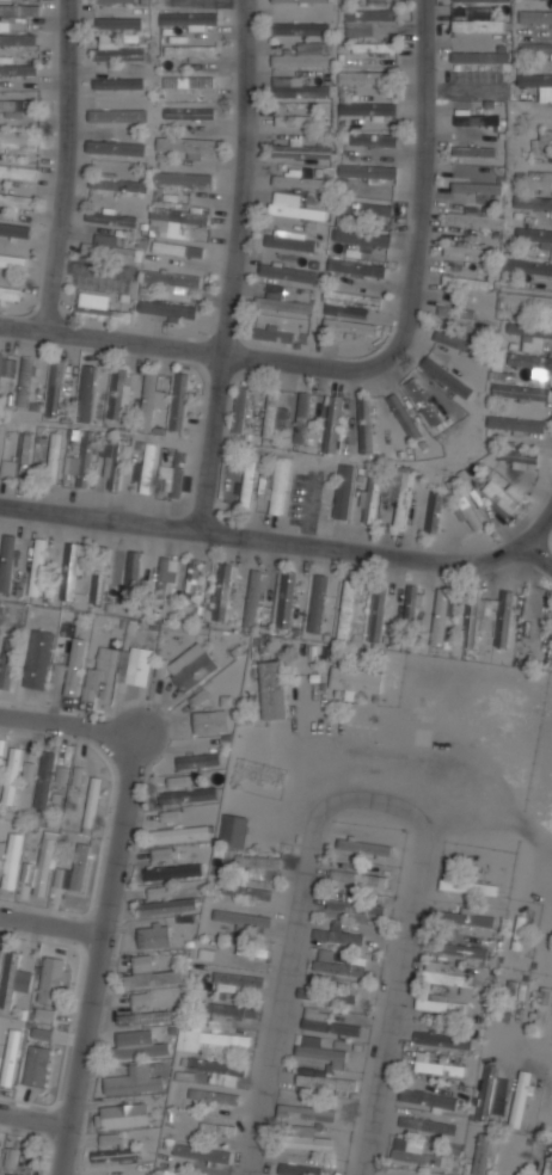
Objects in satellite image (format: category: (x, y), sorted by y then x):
building: (301, 0)
building: (482, 0)
building: (115, 1)
building: (375, 1)
building: (18, 13)
building: (370, 14)
building: (535, 16)
building: (189, 18)
building: (115, 21)
building: (12, 23)
building: (478, 25)
building: (300, 27)
building: (551, 27)
building: (18, 39)
building: (374, 47)
building: (535, 48)
building: (115, 49)
building: (190, 51)
building: (480, 56)
building: (300, 60)
building: (18, 69)
building: (363, 76)
building: (534, 80)
building: (189, 82)
building: (112, 84)
building: (300, 88)
building: (18, 105)
building: (368, 109)
building: (539, 112)
building: (189, 113)
building: (117, 116)
building: (299, 118)
building: (470, 118)
building: (20, 135)
building: (369, 139)
building: (546, 139)
building: (185, 146)
building: (117, 148)
building: (301, 150)
building: (474, 150)
road: (66, 167)
building: (18, 172)
building: (367, 172)
building: (540, 177)
building: (182, 178)
building: (298, 179)
building: (114, 180)
road: (421, 182)
building: (477, 187)
building: (16, 199)
building: (533, 203)
building: (294, 207)
building: (367, 208)
building: (179, 216)
building: (474, 217)
building: (111, 219)
building: (14, 230)
building: (362, 238)
building: (534, 238)
building: (290, 240)
building: (178, 248)
building: (110, 250)
building: (468, 252)
building: (11, 260)
building: (527, 266)
road: (234, 267)
building: (356, 267)
building: (292, 271)
building: (171, 279)
building: (467, 282)
building: (8, 290)
building: (349, 303)
building: (525, 303)
building: (283, 304)
building: (166, 309)
building: (456, 310)
building: (103, 313)
building: (350, 326)
building: (274, 334)
building: (530, 336)
building: (456, 342)
road: (195, 355)
building: (0, 356)
building: (530, 361)
building: (447, 376)
building: (25, 382)
building: (55, 388)
building: (520, 389)
building: (86, 393)
building: (118, 393)
building: (148, 400)
building: (179, 401)
building: (423, 401)
building: (239, 410)
building: (274, 413)
building: (404, 416)
building: (301, 417)
building: (332, 424)
building: (366, 424)
building: (516, 425)
building: (0, 448)
building: (23, 456)
building: (515, 456)
building: (54, 457)
building: (84, 460)
building: (114, 465)
building: (148, 467)
building: (177, 475)
building: (274, 484)
building: (246, 485)
building: (388, 490)
building: (342, 493)
building: (502, 497)
building: (404, 498)
building: (372, 503)
building: (465, 504)
building: (435, 511)
road: (538, 533)
road: (280, 545)
building: (6, 561)
building: (37, 567)
building: (72, 568)
building: (131, 568)
building: (168, 571)
building: (99, 574)
building: (191, 579)
building: (221, 591)
building: (253, 597)
building: (286, 598)
building: (321, 604)
building: (410, 604)
building: (346, 608)
building: (378, 613)
building: (441, 617)
building: (477, 617)
building: (38, 658)
building: (8, 659)
building: (75, 666)
building: (139, 666)
building: (190, 666)
building: (59, 672)
building: (102, 673)
building: (355, 679)
building: (272, 689)
building: (210, 721)
road: (68, 726)
road: (318, 758)
building: (0, 761)
building: (197, 761)
building: (27, 770)
building: (11, 775)
building: (61, 776)
building: (78, 777)
building: (44, 779)
building: (185, 790)
road: (363, 804)
building: (92, 805)
building: (170, 816)
road: (487, 820)
building: (233, 830)
building: (179, 835)
building: (364, 848)
building: (160, 853)
building: (10, 860)
building: (260, 865)
building: (42, 866)
building: (74, 871)
building: (172, 872)
building: (357, 878)
building: (468, 886)
building: (246, 891)
building: (165, 903)
building: (355, 906)
building: (241, 918)
building: (466, 918)
road: (51, 921)
building: (519, 933)
building: (336, 934)
building: (153, 935)
building: (251, 949)
building: (459, 949)
road: (98, 955)
building: (339, 964)
building: (447, 977)
building: (153, 978)
building: (13, 979)
building: (51, 979)
building: (238, 980)
building: (326, 995)
building: (141, 998)
building: (507, 1001)
building: (438, 1005)
building: (540, 1011)
building: (227, 1013)
building: (44, 1014)
building: (146, 1016)
building: (330, 1023)
building: (41, 1034)
building: (444, 1039)
building: (216, 1040)
building: (137, 1045)
road: (523, 1047)
building: (320, 1050)
building: (10, 1057)
building: (36, 1065)
building: (438, 1068)
building: (219, 1070)
building: (134, 1081)
building: (325, 1083)
building: (486, 1093)
building: (214, 1096)
building: (428, 1097)
building: (521, 1099)
building: (306, 1113)
road: (35, 1114)
building: (124, 1114)
building: (428, 1125)
building: (217, 1128)
building: (307, 1142)
building: (412, 1151)
building: (202, 1152)
building: (0, 1154)
building: (483, 1154)
building: (116, 1155)
building: (11, 1157)
building: (547, 1159)
building: (299, 1169)
building: (11, 1174)

